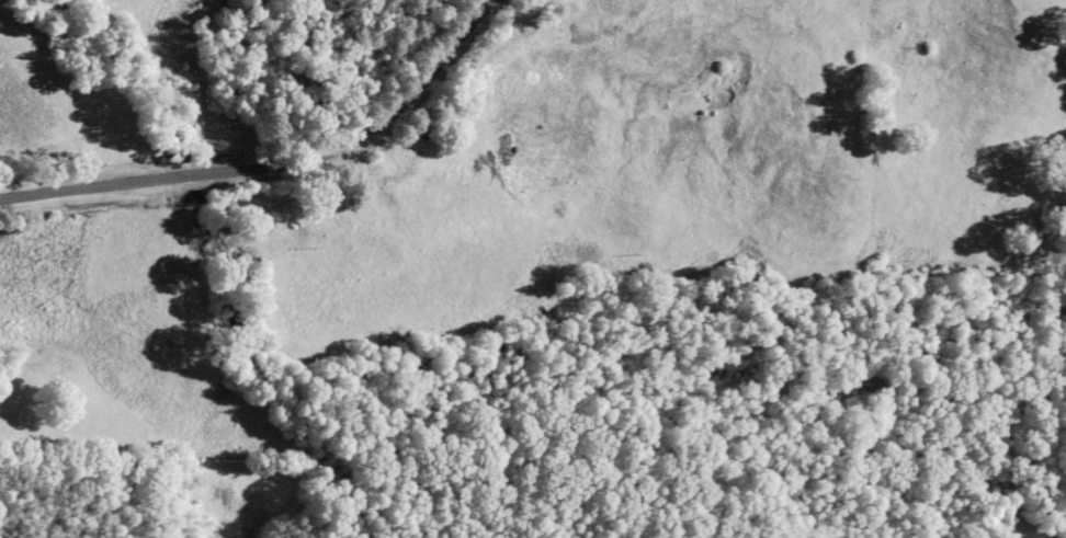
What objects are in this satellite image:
road: (277, 163)

